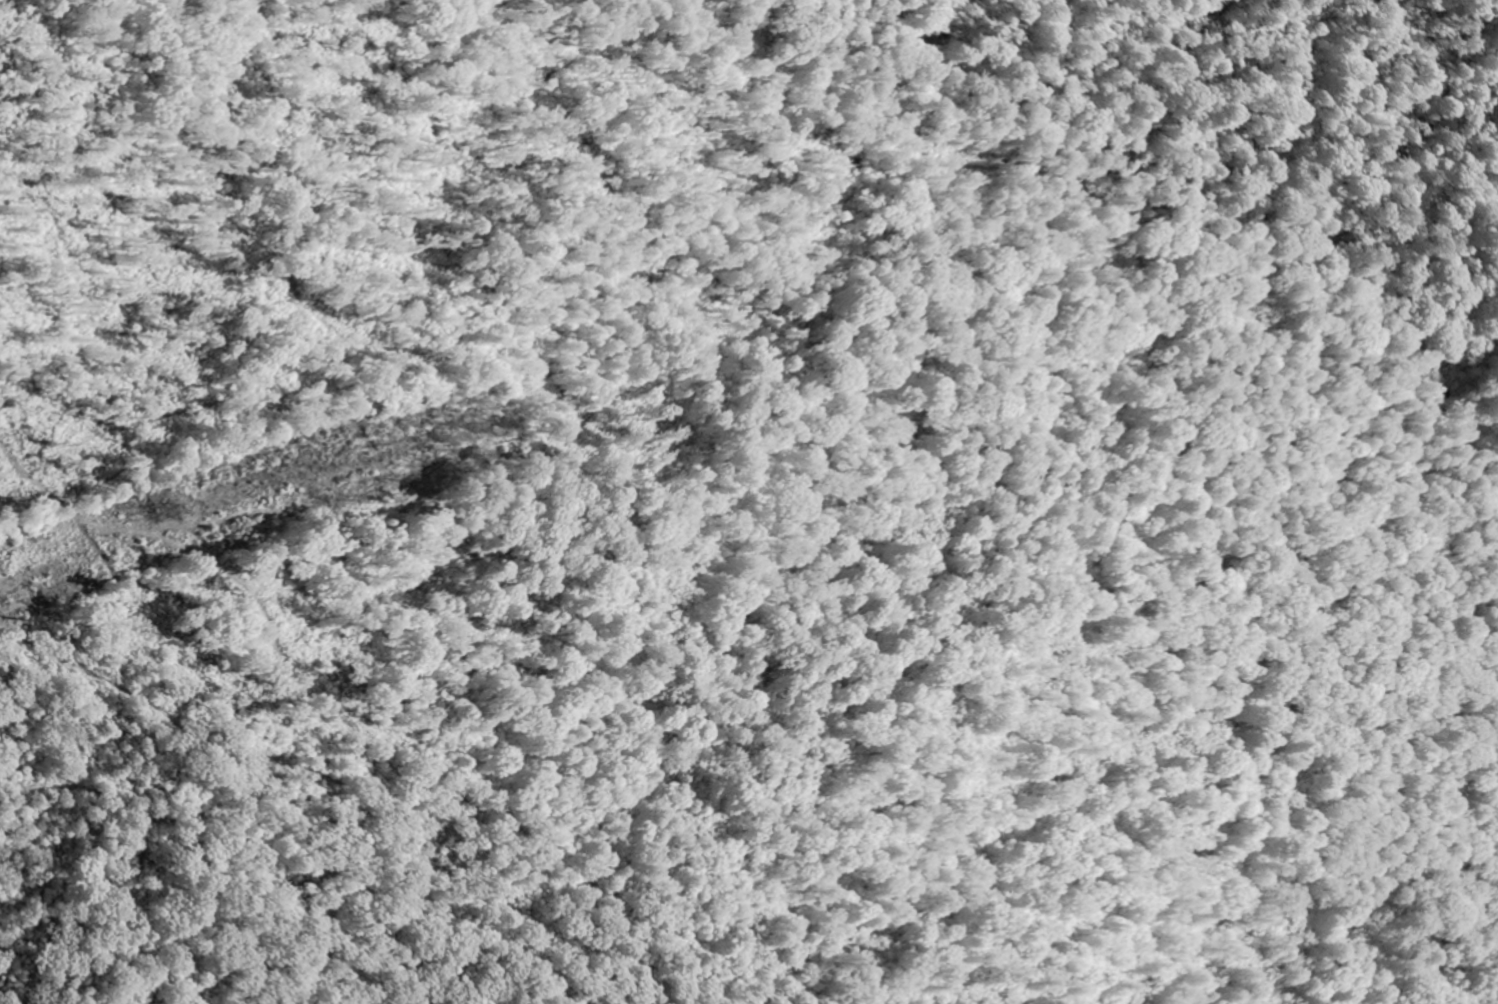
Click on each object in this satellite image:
power tower: (185, 545)

